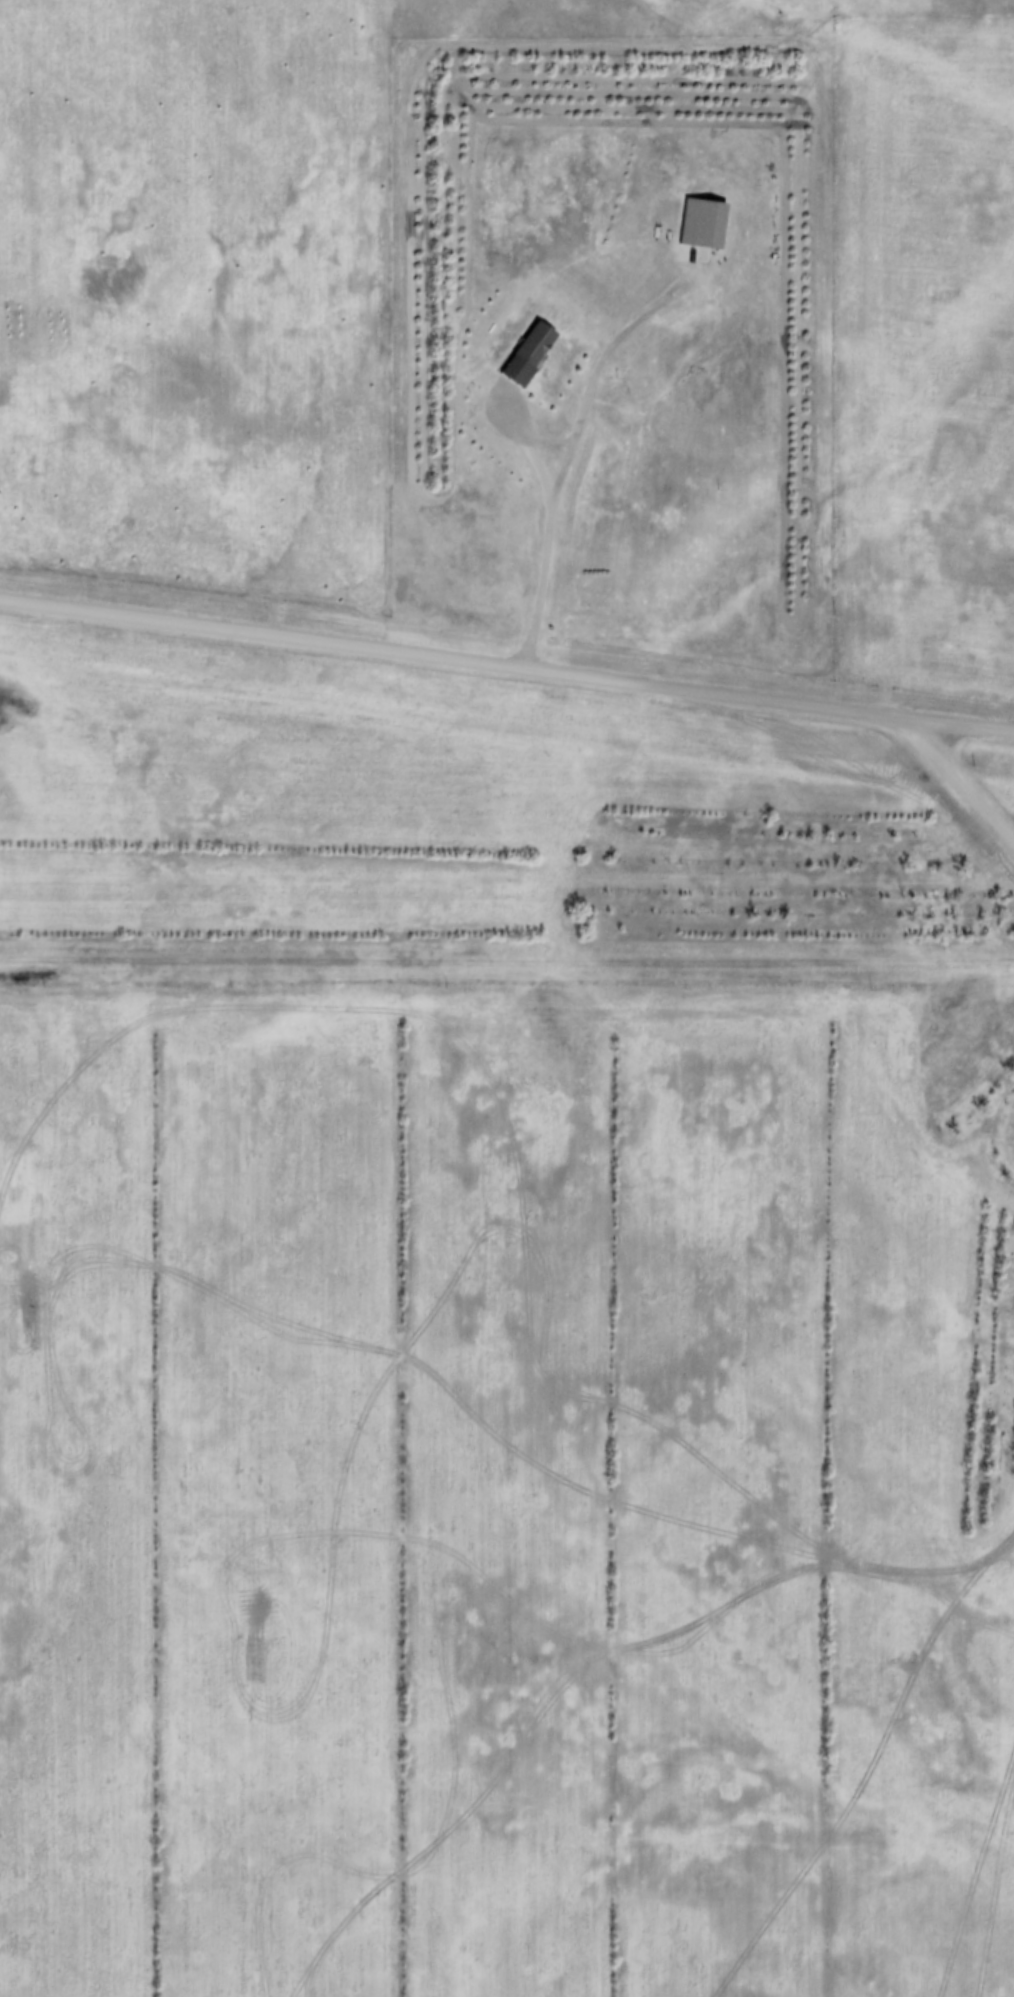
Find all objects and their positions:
building: (706, 223)
building: (527, 353)
road: (228, 629)
road: (735, 695)

